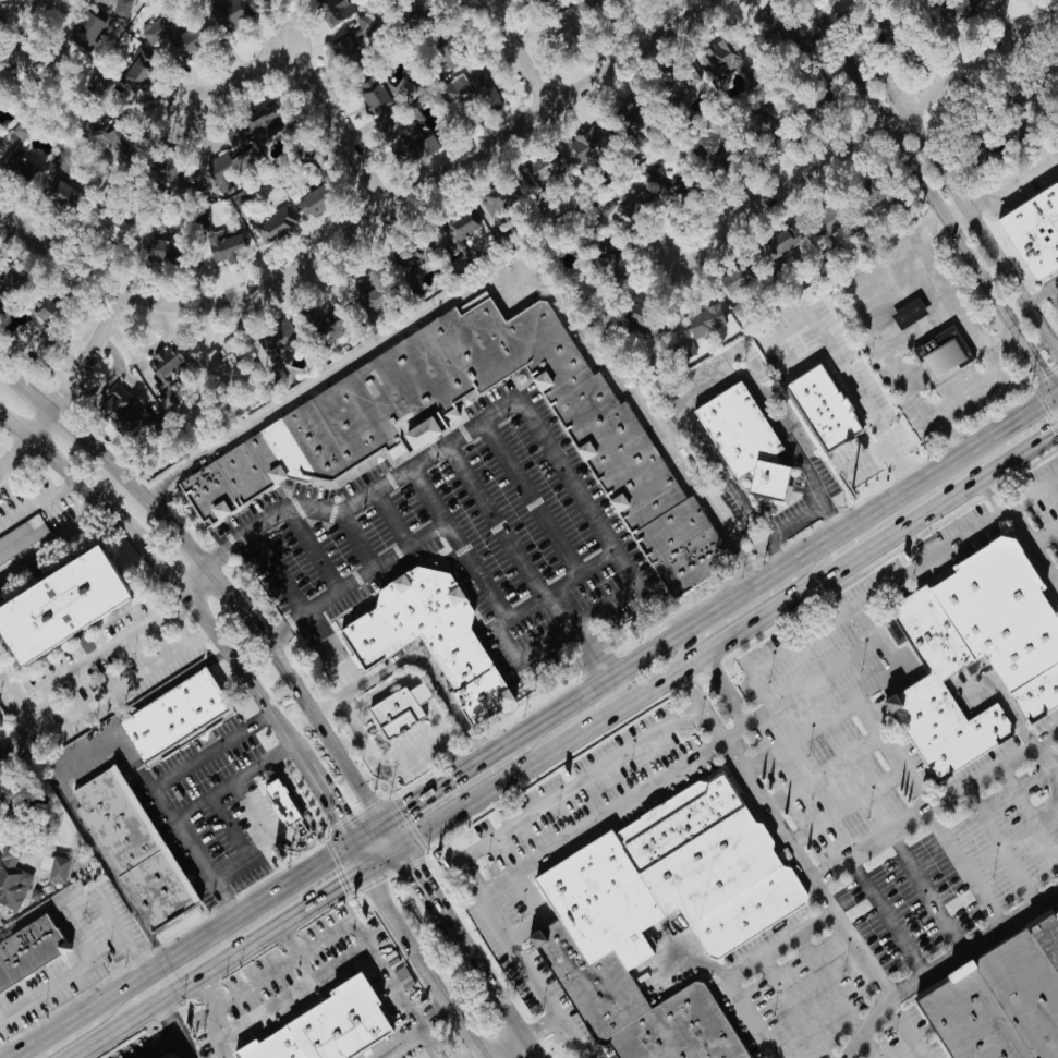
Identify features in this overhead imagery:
road: (29, 0)
building: (989, 0)
building: (538, 3)
building: (948, 8)
building: (119, 9)
building: (331, 10)
building: (219, 14)
building: (84, 28)
building: (766, 32)
building: (569, 33)
building: (880, 36)
building: (169, 40)
building: (352, 40)
road: (515, 52)
building: (904, 54)
building: (440, 58)
building: (719, 58)
building: (28, 61)
building: (132, 71)
road: (312, 82)
building: (403, 89)
building: (466, 89)
building: (368, 93)
building: (1019, 102)
building: (755, 114)
building: (625, 117)
building: (262, 120)
road: (867, 132)
building: (112, 138)
building: (404, 138)
building: (587, 143)
building: (231, 150)
building: (698, 150)
building: (15, 155)
building: (543, 167)
road: (947, 174)
road: (1001, 181)
road: (426, 184)
building: (59, 193)
road: (933, 196)
building: (492, 197)
building: (309, 202)
building: (636, 203)
building: (273, 222)
building: (458, 224)
building: (1034, 229)
building: (106, 231)
building: (156, 243)
building: (223, 243)
building: (776, 244)
road: (57, 255)
building: (604, 262)
road: (499, 264)
building: (404, 266)
building: (731, 279)
road: (1043, 295)
road: (957, 305)
building: (907, 313)
road: (884, 319)
building: (316, 321)
building: (701, 323)
building: (270, 348)
building: (941, 358)
traffic signals: (1037, 362)
building: (167, 364)
building: (219, 365)
road: (976, 382)
road: (65, 386)
road: (708, 388)
road: (1057, 391)
building: (166, 398)
road: (867, 399)
building: (115, 408)
building: (823, 408)
building: (746, 445)
building: (295, 454)
road: (68, 472)
road: (567, 479)
road: (953, 491)
road: (37, 501)
road: (434, 502)
road: (799, 518)
road: (1021, 526)
road: (173, 528)
parking lot: (473, 537)
building: (22, 539)
road: (52, 542)
road: (160, 564)
road: (209, 564)
road: (781, 566)
building: (64, 605)
building: (1001, 609)
road: (735, 612)
road: (841, 612)
road: (499, 615)
building: (374, 646)
road: (423, 646)
road: (333, 650)
road: (604, 657)
road: (88, 658)
road: (244, 672)
road: (115, 686)
road: (379, 690)
road: (730, 690)
road: (419, 692)
building: (1038, 693)
road: (862, 694)
building: (941, 700)
road: (627, 702)
road: (702, 703)
building: (397, 712)
road: (579, 715)
building: (173, 717)
road: (436, 717)
road: (348, 721)
building: (0, 726)
road: (1044, 756)
road: (403, 761)
road: (350, 768)
road: (233, 778)
road: (446, 780)
road: (570, 788)
road: (159, 793)
road: (935, 794)
road: (324, 795)
building: (283, 803)
traffic signals: (408, 805)
building: (4, 810)
road: (309, 814)
traffic signals: (337, 817)
road: (367, 830)
road: (392, 831)
road: (266, 838)
building: (131, 849)
road: (356, 854)
road: (382, 856)
road: (528, 859)
traffic signals: (411, 860)
building: (52, 867)
road: (418, 872)
traffic signals: (350, 877)
building: (11, 880)
road: (920, 885)
road: (828, 895)
building: (601, 899)
road: (881, 909)
road: (971, 936)
road: (250, 939)
building: (28, 947)
road: (180, 949)
road: (294, 951)
road: (297, 952)
road: (341, 960)
road: (424, 964)
road: (78, 969)
road: (744, 969)
road: (489, 978)
building: (999, 993)
road: (217, 1002)
road: (904, 1024)
road: (181, 1026)
building: (327, 1027)
road: (76, 1032)
road: (101, 1034)
road: (574, 1034)
road: (427, 1042)
road: (504, 1043)
road: (515, 1044)
road: (162, 1045)
road: (406, 1047)
road: (484, 1057)

